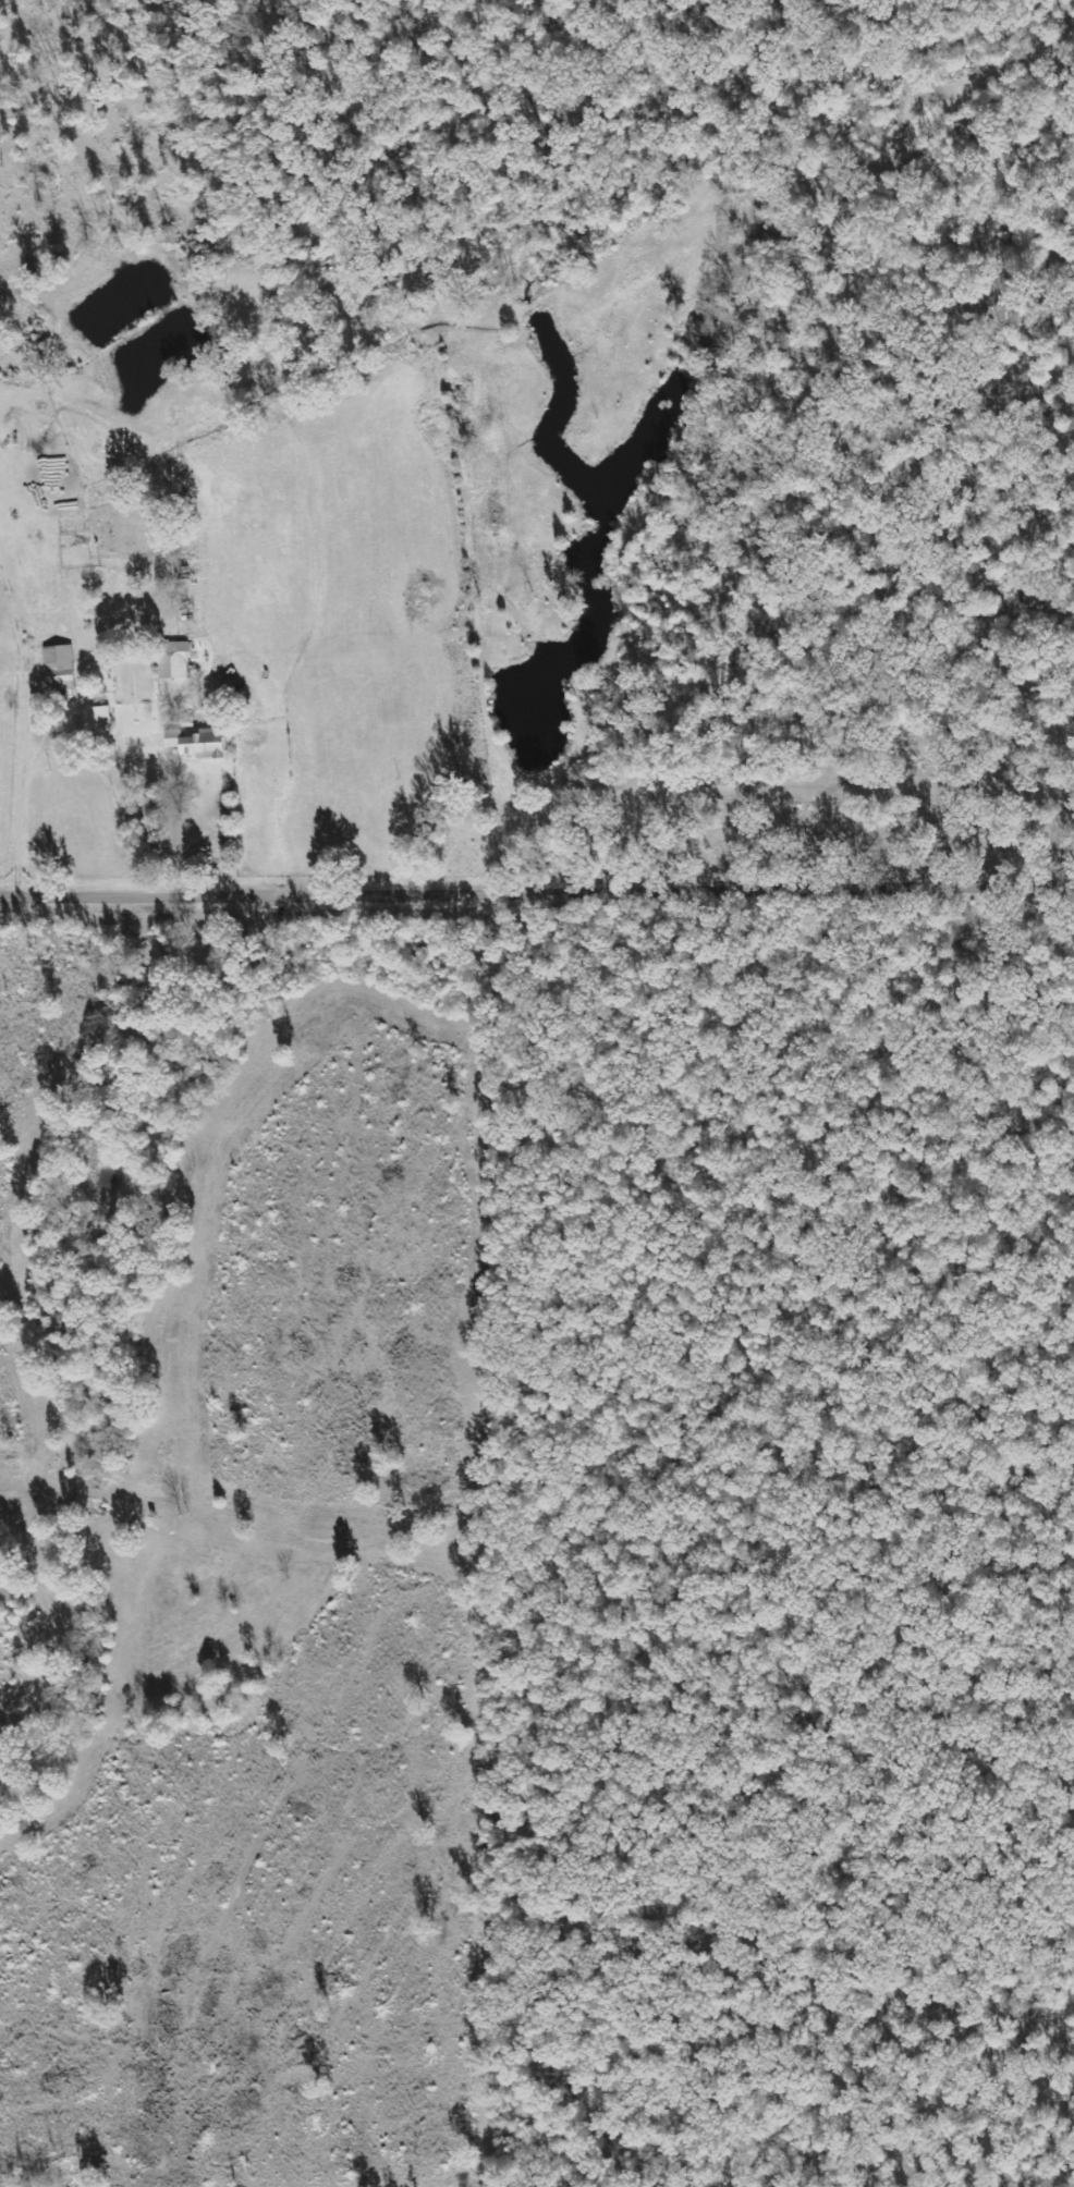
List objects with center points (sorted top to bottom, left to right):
building: (178, 662)
building: (61, 667)
building: (200, 743)
road: (536, 890)

